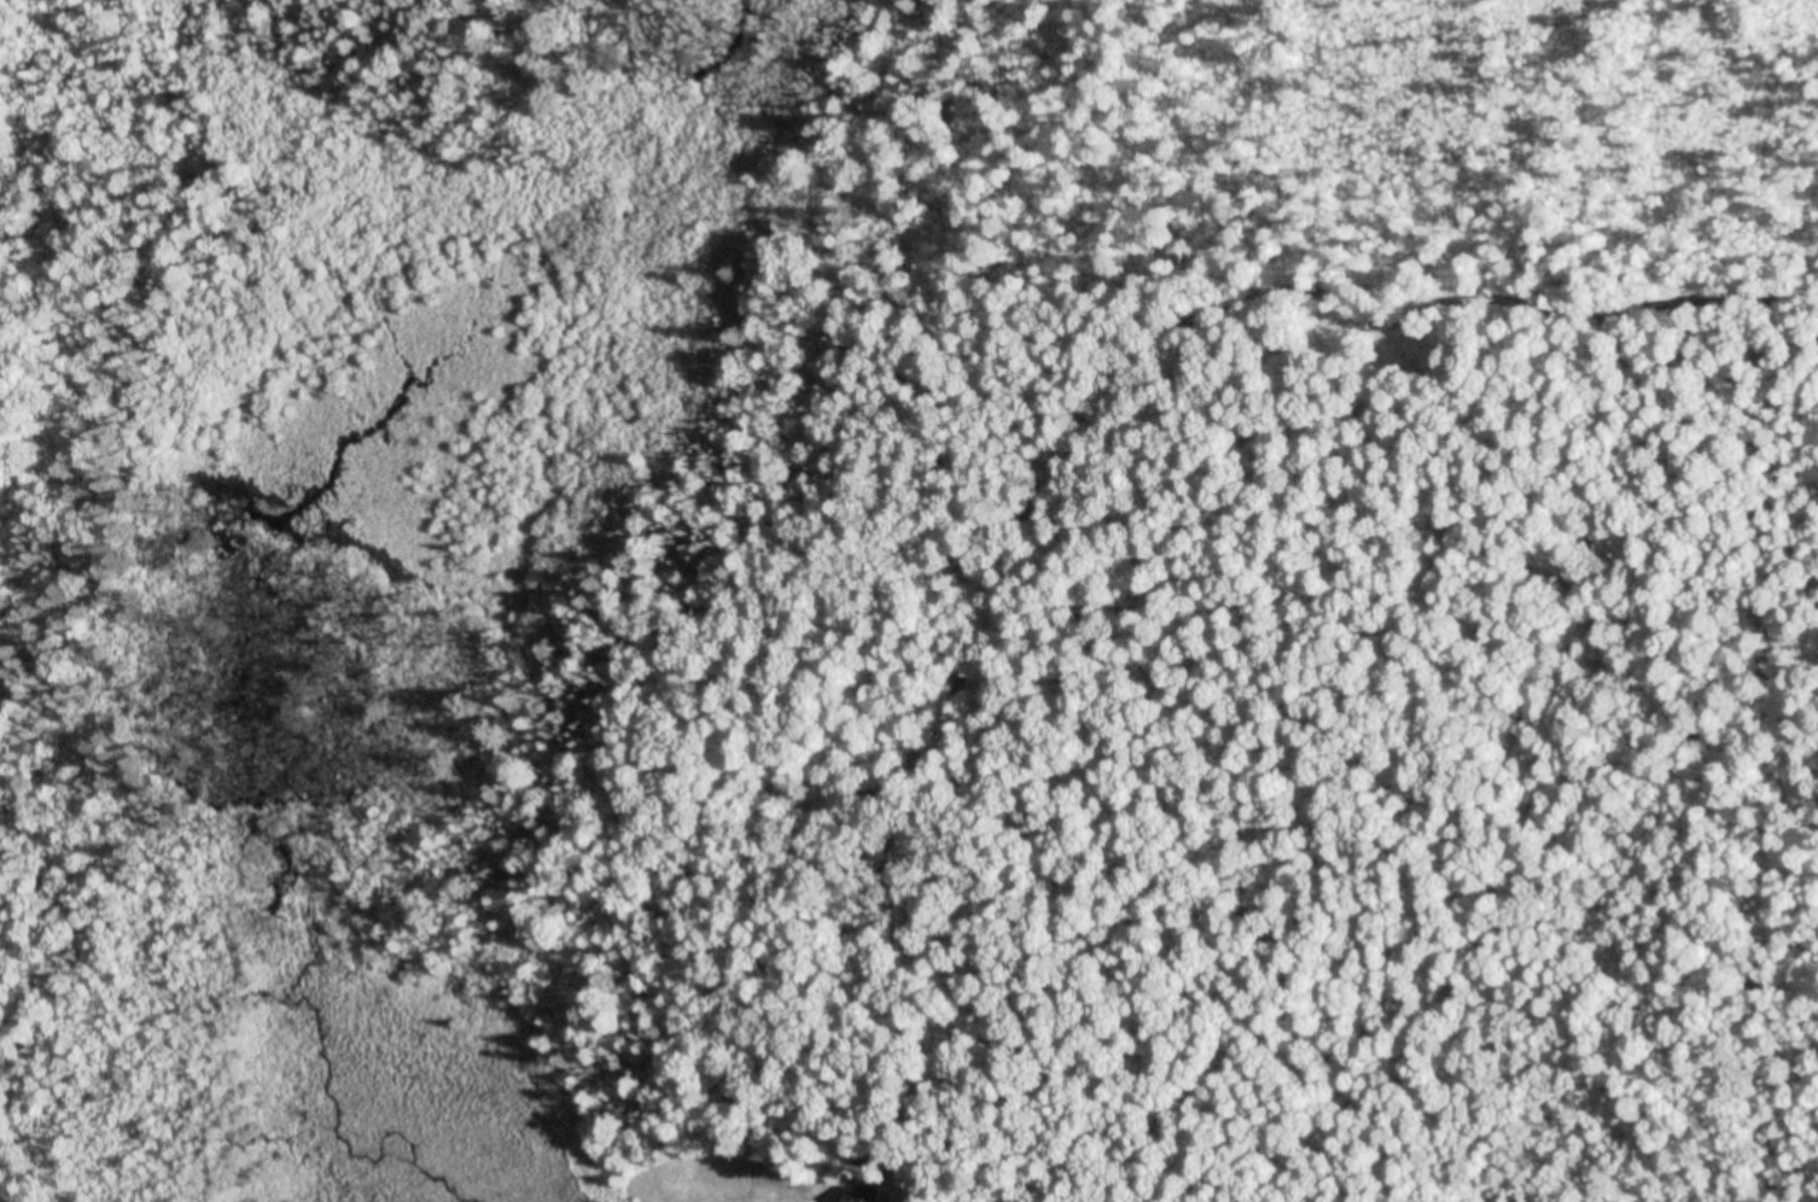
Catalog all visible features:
building: (858, 1194)

